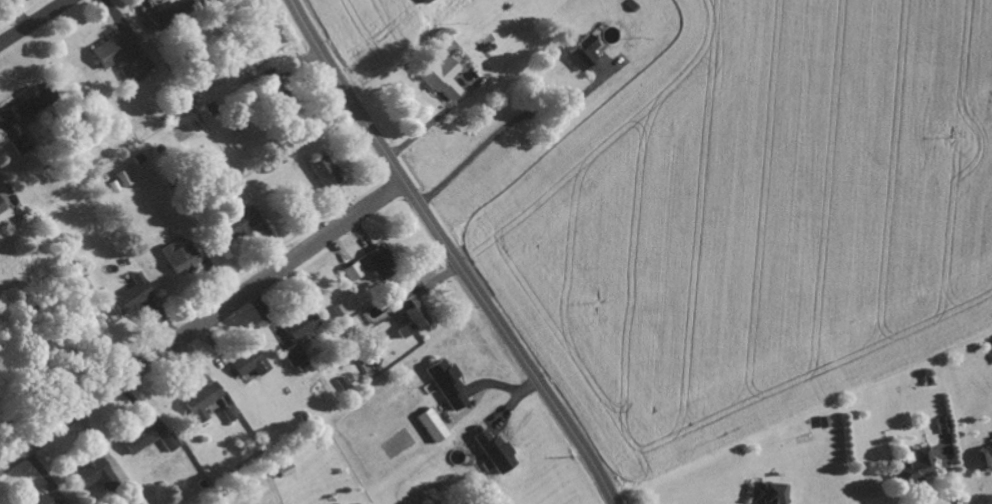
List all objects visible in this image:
building: (207, 0)
building: (421, 1)
building: (169, 8)
road: (36, 23)
building: (112, 48)
building: (580, 52)
building: (438, 77)
building: (26, 105)
road: (502, 132)
building: (17, 142)
building: (320, 170)
road: (0, 172)
building: (120, 177)
building: (0, 209)
building: (234, 222)
road: (451, 253)
building: (176, 255)
building: (377, 260)
building: (349, 270)
building: (129, 294)
building: (408, 315)
building: (298, 323)
road: (202, 325)
building: (290, 354)
building: (246, 362)
building: (344, 380)
building: (443, 382)
building: (199, 400)
building: (821, 421)
building: (428, 425)
building: (134, 438)
building: (166, 441)
building: (490, 450)
building: (986, 456)
building: (912, 465)
building: (281, 470)
building: (89, 472)
building: (765, 493)
building: (131, 499)
building: (37, 500)

